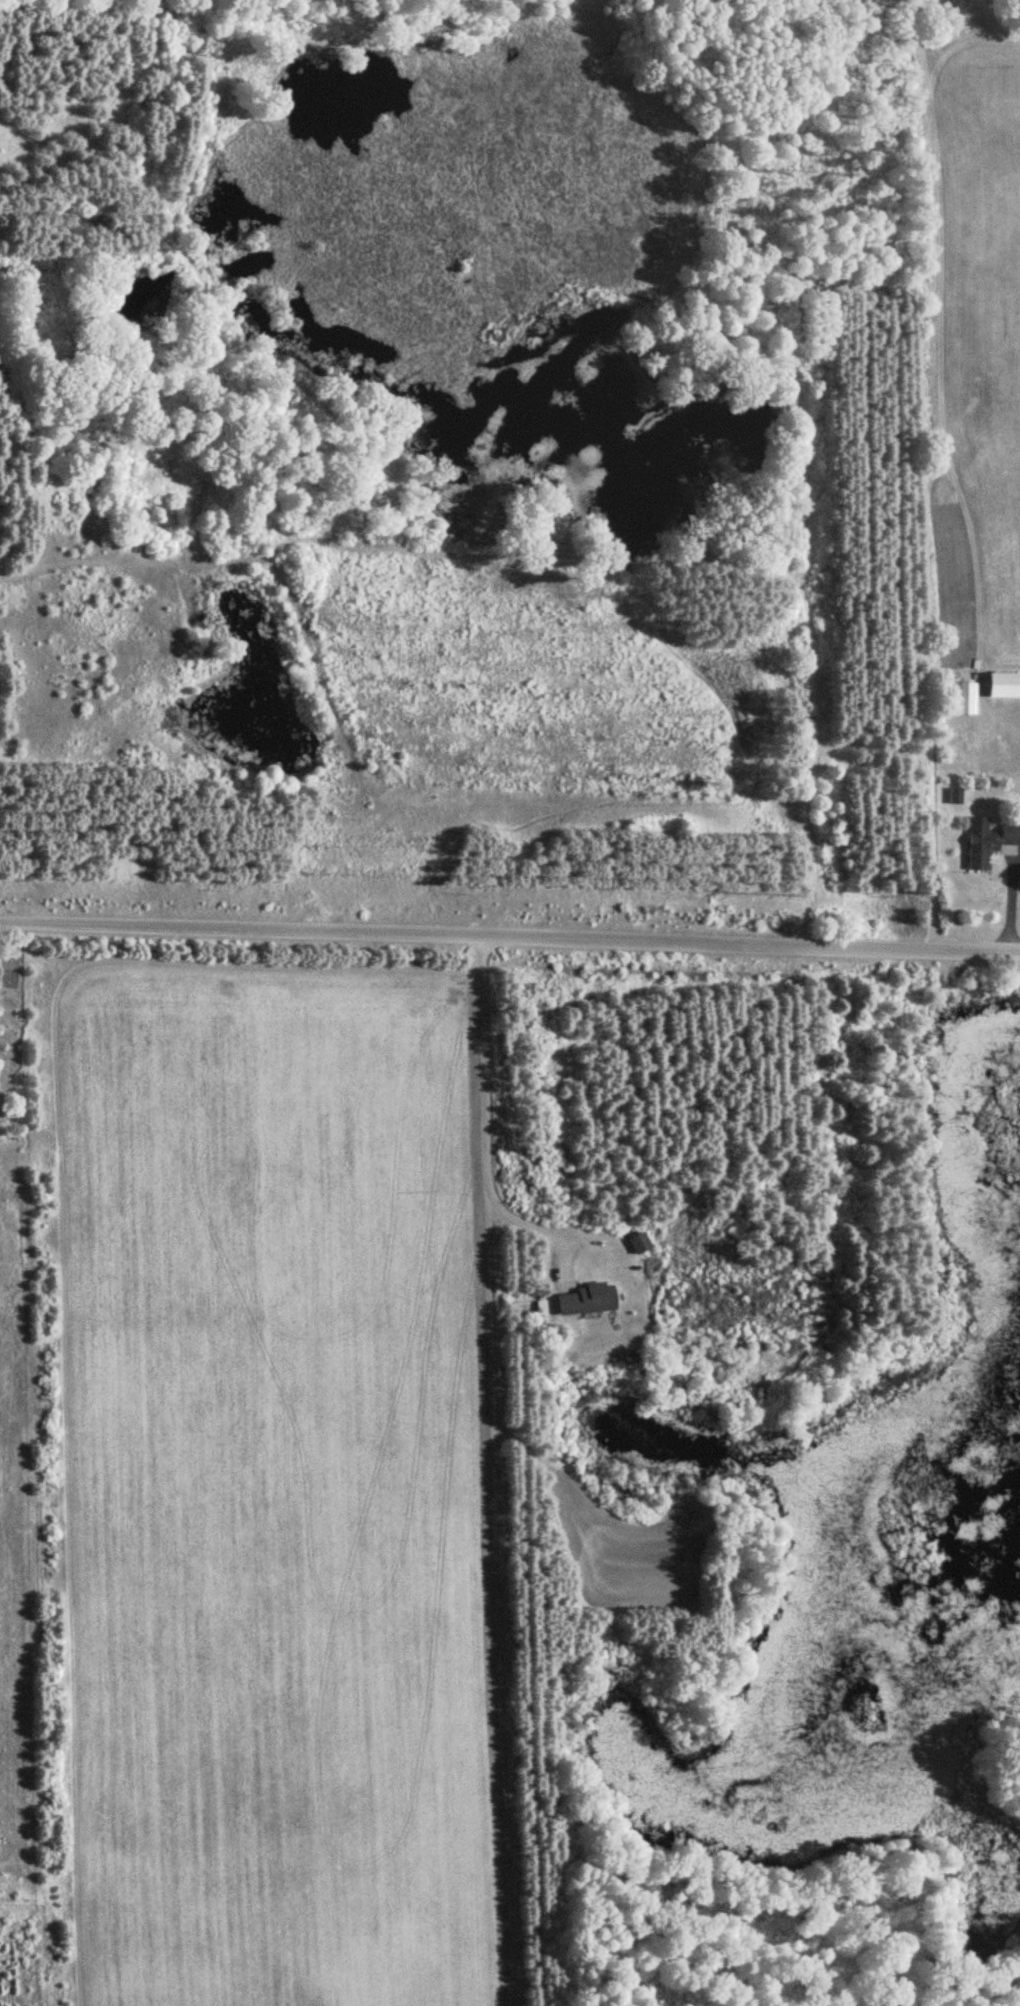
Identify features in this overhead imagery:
building: (1003, 685)
building: (963, 698)
road: (1002, 724)
building: (988, 839)
road: (1007, 899)
road: (510, 934)
road: (485, 1112)
building: (637, 1243)
building: (581, 1299)

